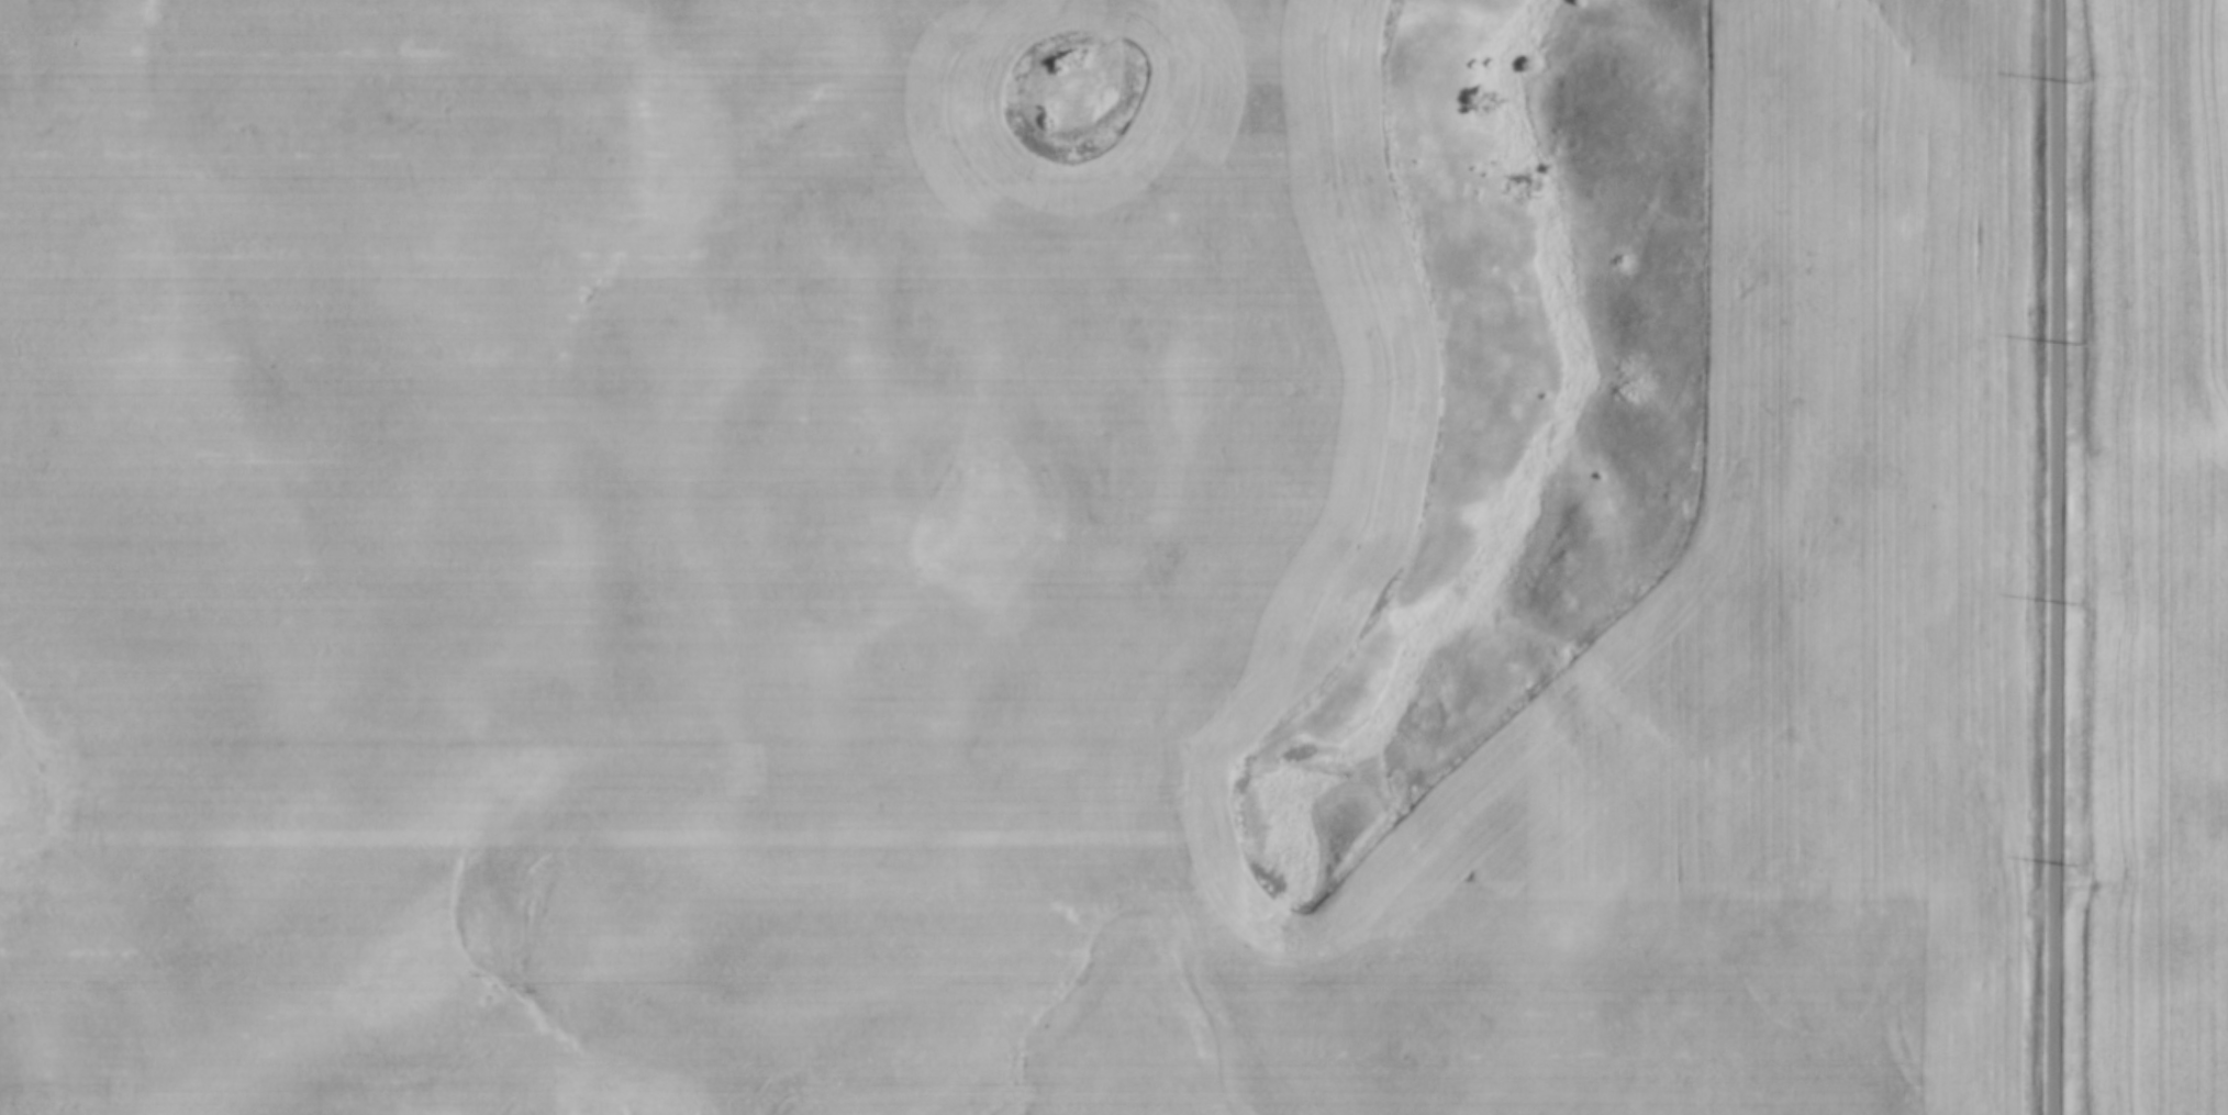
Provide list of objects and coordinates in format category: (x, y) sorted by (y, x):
road: (2058, 557)

